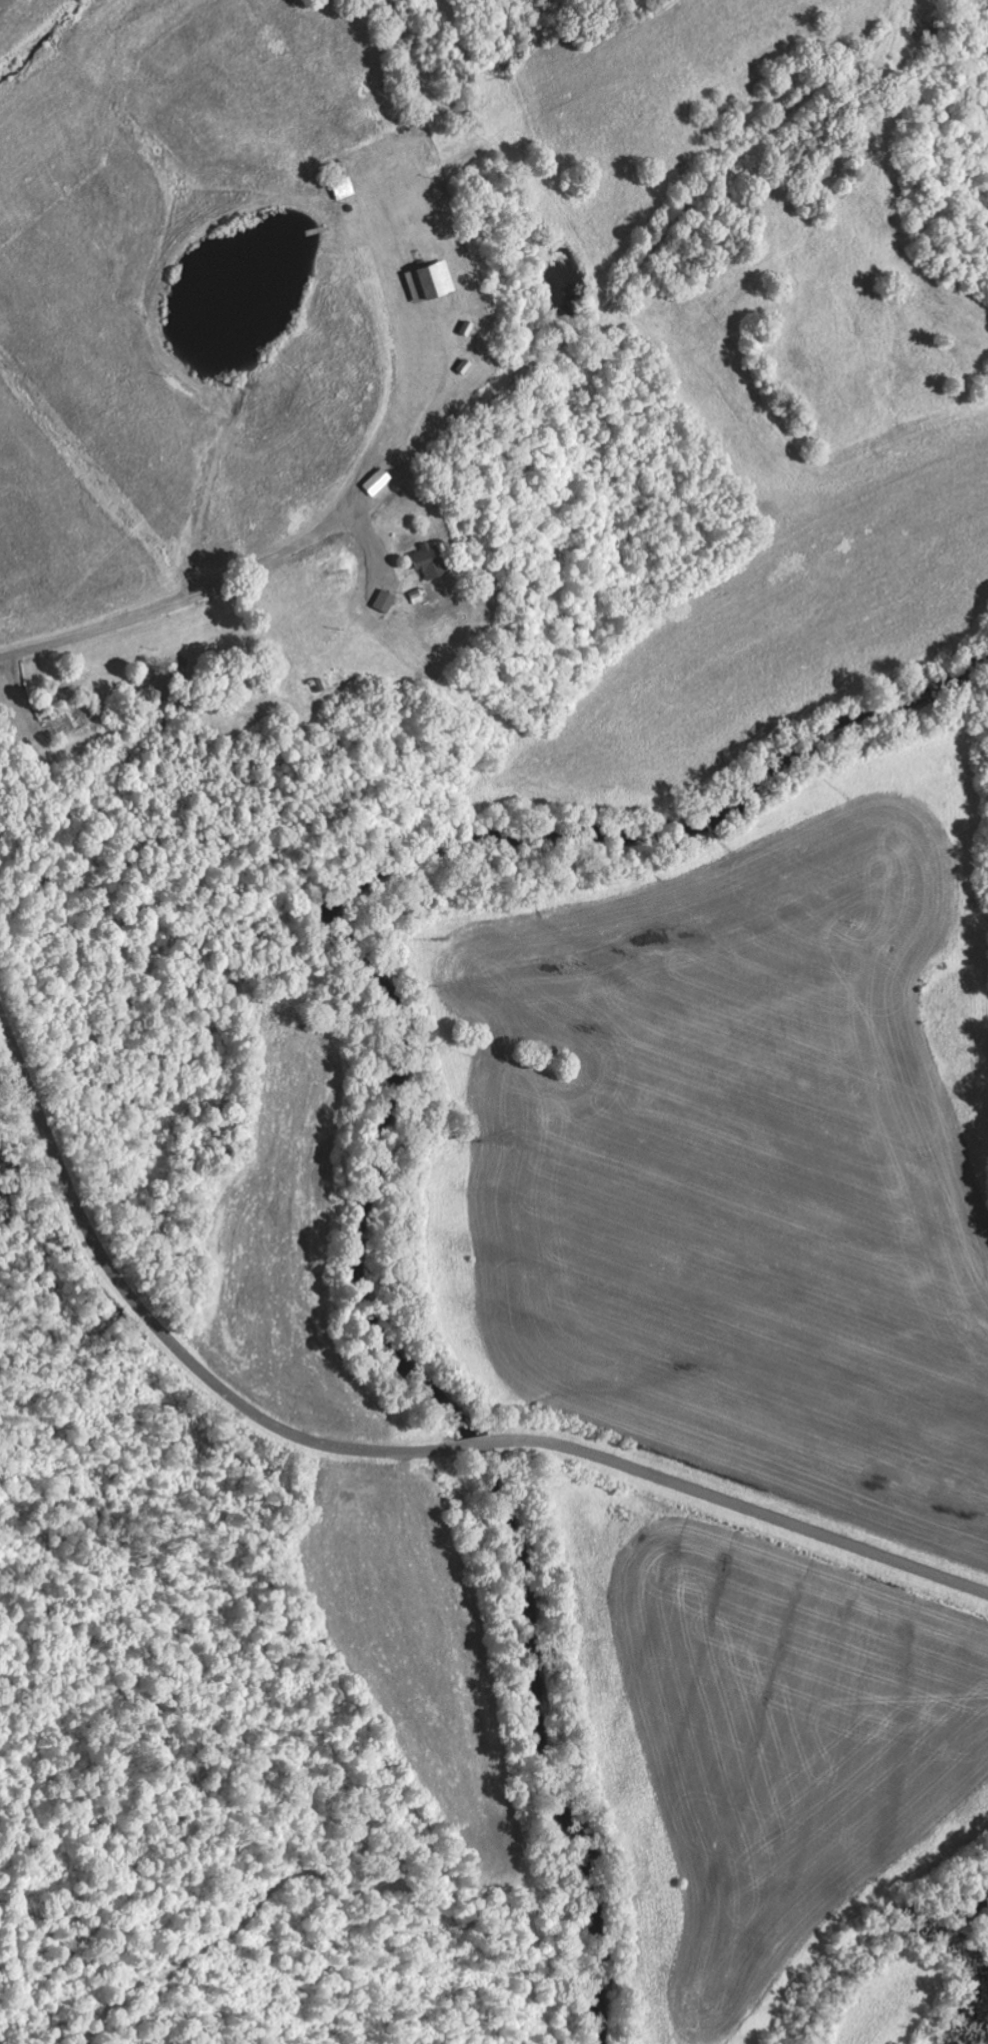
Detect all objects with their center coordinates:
building: (431, 282)
road: (496, 396)
building: (378, 483)
building: (429, 562)
building: (385, 602)
river: (380, 1143)
road: (157, 1324)
road: (475, 1445)
road: (743, 1508)

